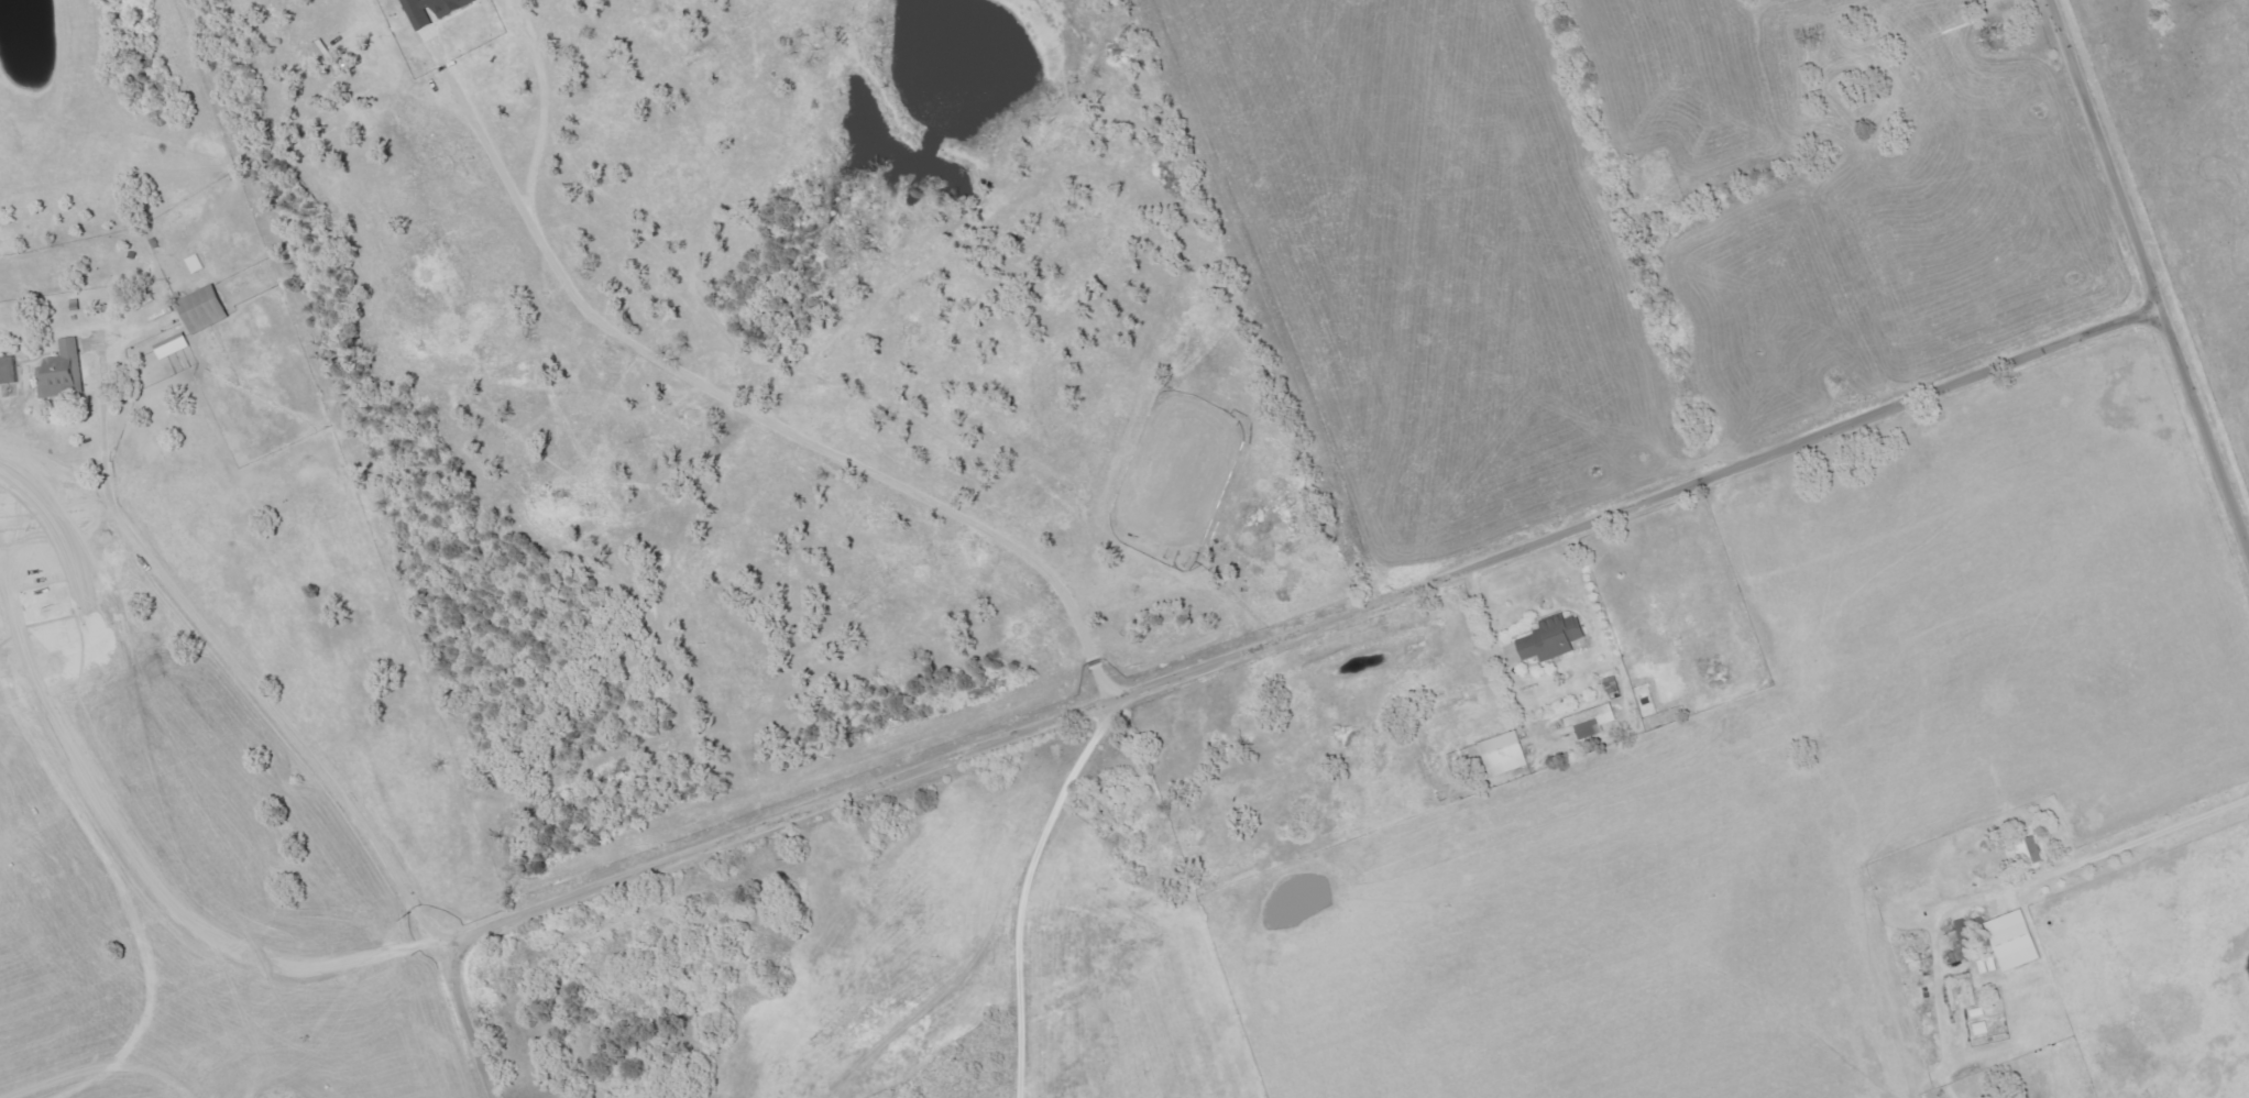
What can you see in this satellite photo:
building: (434, 14)
road: (2147, 278)
building: (204, 308)
road: (1332, 314)
building: (173, 344)
building: (8, 369)
building: (62, 370)
road: (733, 411)
road: (1482, 617)
building: (1553, 638)
road: (232, 654)
road: (1232, 660)
building: (1591, 721)
building: (1504, 753)
road: (2127, 845)
building: (2025, 853)
road: (1022, 892)
building: (2015, 940)

